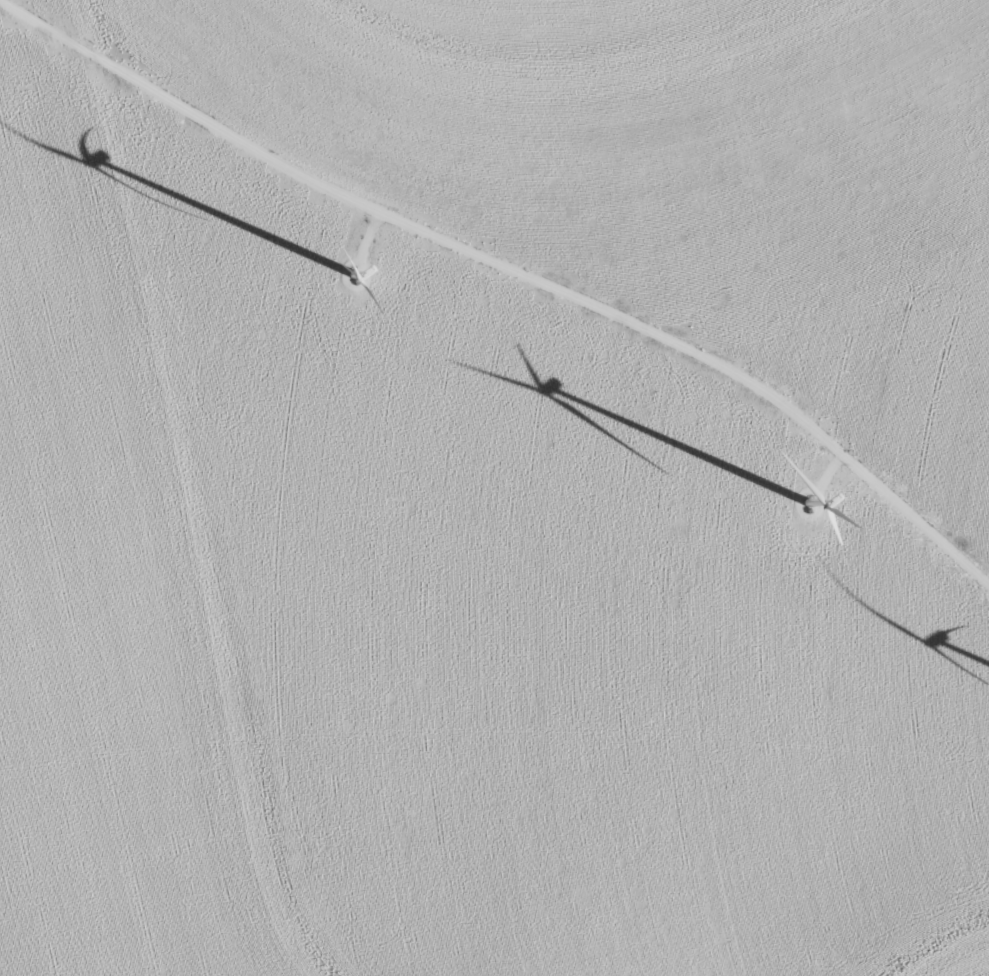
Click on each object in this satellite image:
wind turbine: (354, 270)
road: (511, 272)
wind turbine: (807, 504)

